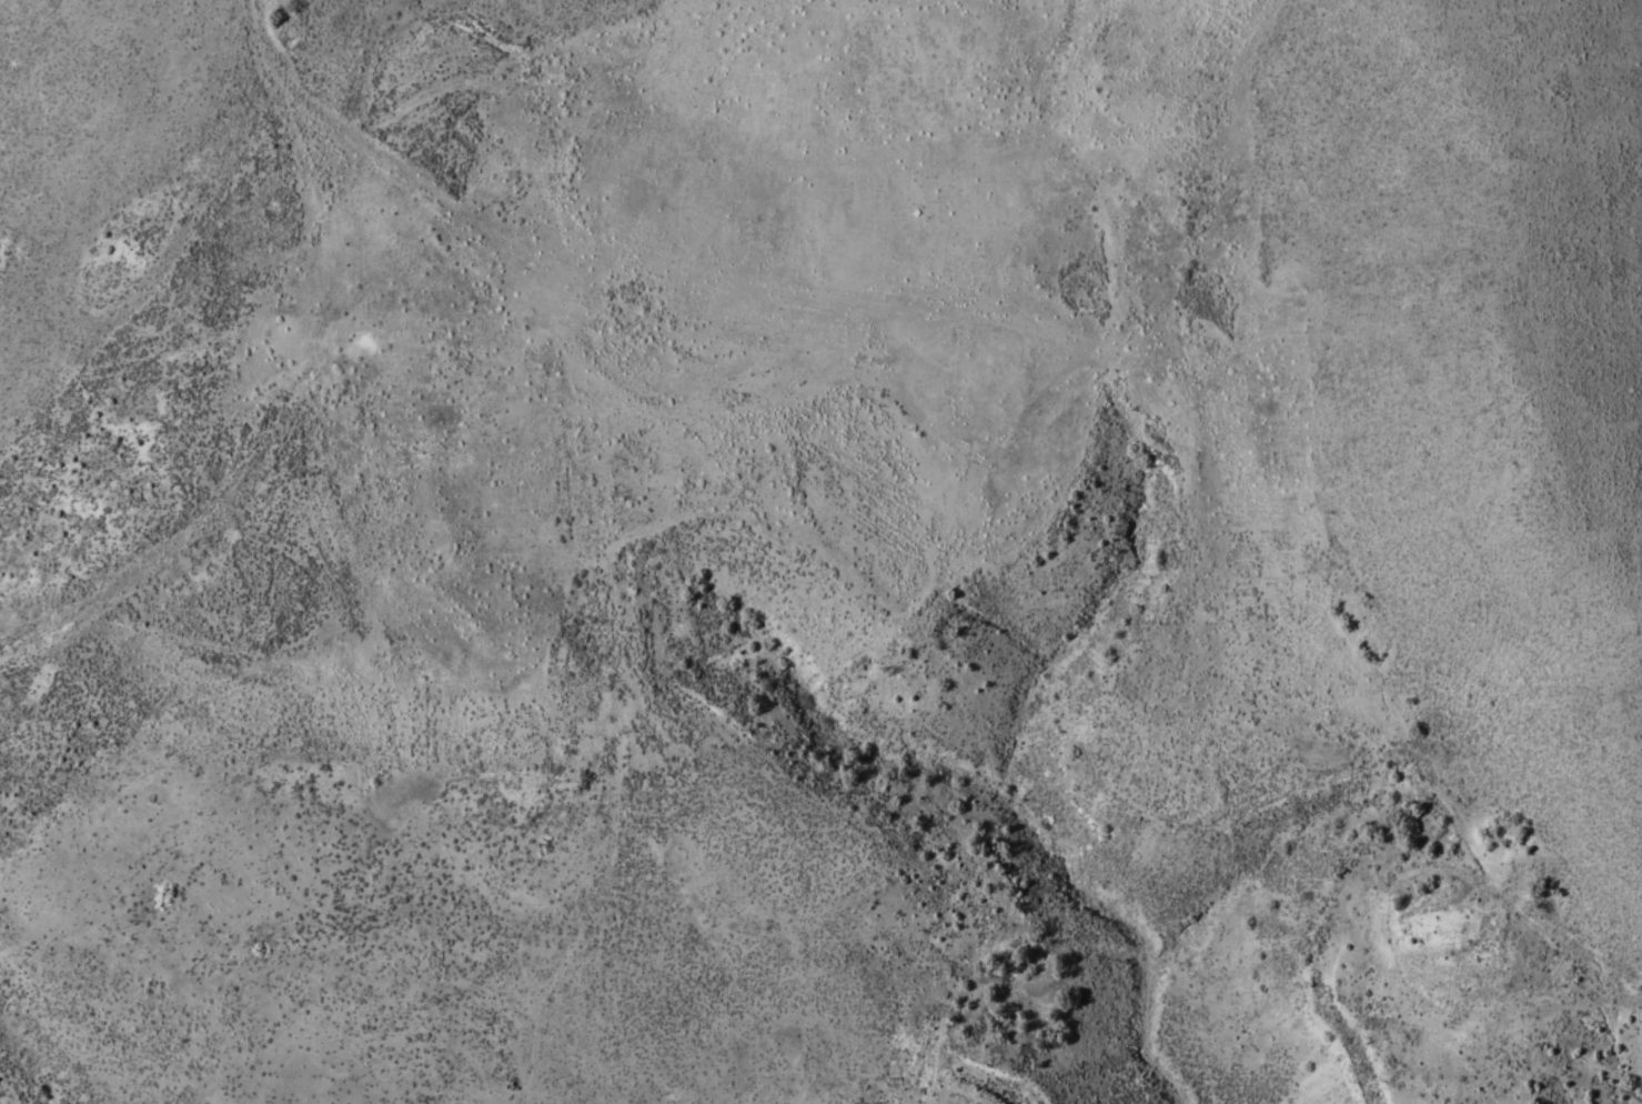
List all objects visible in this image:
road: (381, 167)
building: (475, 418)

